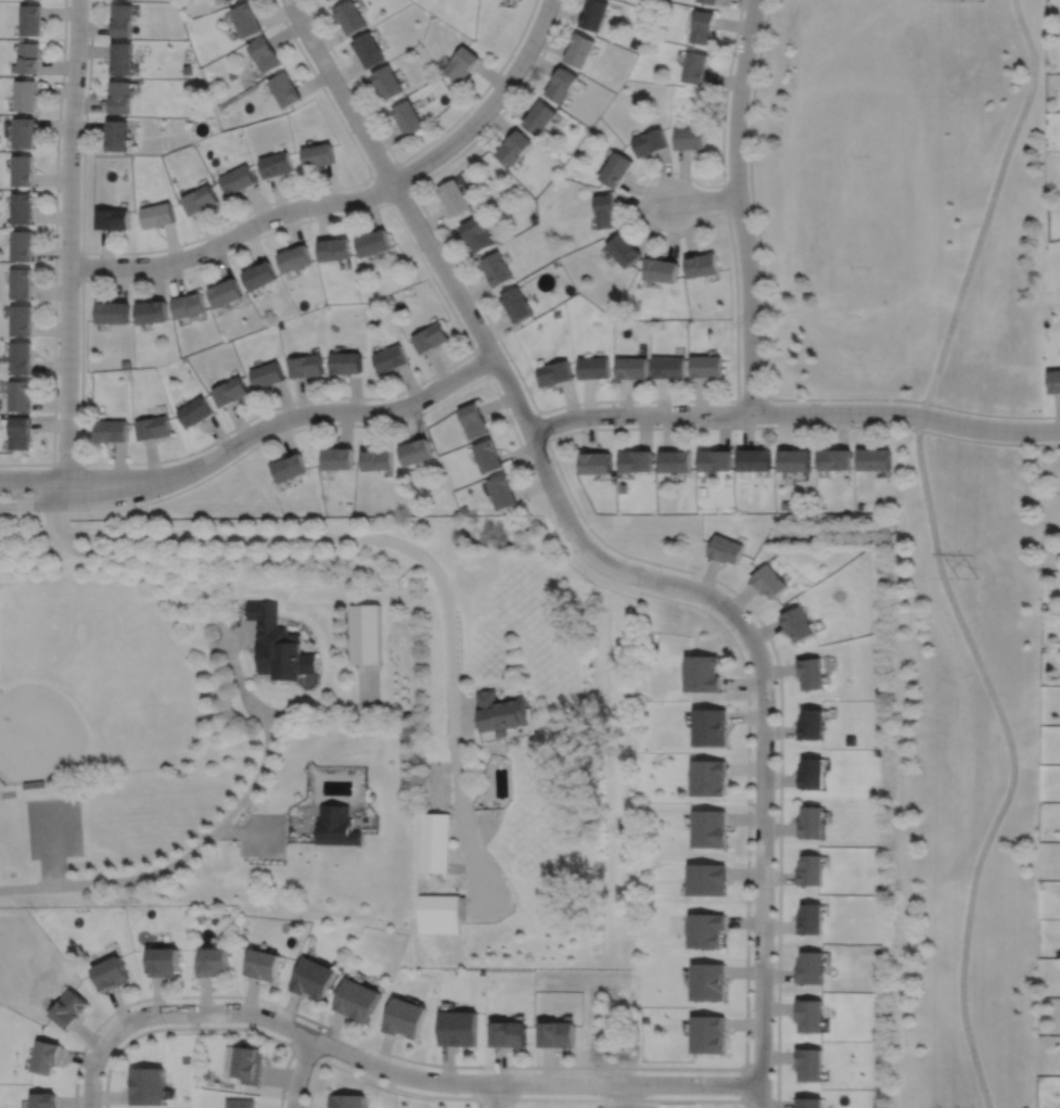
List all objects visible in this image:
building: (229, 0)
building: (328, 0)
building: (710, 1)
building: (646, 2)
building: (593, 14)
building: (350, 16)
building: (30, 20)
building: (124, 20)
building: (245, 20)
street lamp: (310, 20)
building: (702, 26)
street lamp: (88, 39)
building: (369, 50)
building: (578, 50)
street lamp: (540, 51)
building: (264, 54)
street lamp: (735, 54)
building: (28, 58)
building: (124, 59)
building: (463, 64)
building: (694, 67)
building: (186, 69)
power tower: (968, 73)
building: (388, 82)
building: (561, 85)
building: (285, 90)
building: (24, 95)
building: (122, 98)
road: (489, 105)
street lamp: (363, 112)
building: (409, 117)
building: (539, 117)
building: (22, 132)
building: (118, 136)
street lamp: (475, 136)
building: (689, 138)
building: (649, 142)
building: (515, 148)
street lamp: (60, 152)
road: (410, 155)
building: (319, 156)
road: (397, 164)
building: (277, 165)
building: (22, 170)
building: (615, 170)
street lamp: (726, 175)
road: (371, 177)
building: (238, 180)
street lamp: (368, 184)
road: (726, 198)
park: (854, 198)
building: (456, 199)
road: (705, 199)
building: (199, 201)
road: (739, 205)
building: (21, 207)
road: (989, 207)
building: (605, 212)
building: (157, 216)
building: (113, 220)
street lamp: (660, 230)
road: (55, 231)
street lamp: (434, 232)
street lamp: (259, 233)
road: (206, 235)
road: (233, 235)
building: (477, 235)
road: (410, 240)
building: (374, 244)
building: (21, 245)
road: (68, 250)
building: (334, 251)
building: (624, 251)
road: (434, 253)
street lamp: (139, 255)
building: (294, 259)
road: (82, 266)
building: (702, 266)
building: (498, 270)
building: (661, 271)
road: (764, 276)
building: (259, 277)
building: (21, 283)
street lamp: (80, 285)
building: (226, 294)
building: (519, 306)
building: (189, 307)
building: (152, 314)
building: (112, 315)
building: (21, 320)
street lamp: (740, 329)
building: (431, 338)
street lamp: (473, 341)
building: (391, 356)
building: (21, 358)
building: (346, 359)
building: (126, 361)
road: (481, 361)
building: (307, 364)
building: (707, 364)
building: (630, 365)
building: (669, 365)
building: (593, 366)
building: (554, 370)
building: (267, 372)
building: (1053, 381)
street lamp: (424, 382)
building: (231, 389)
street lamp: (740, 394)
building: (20, 396)
road: (682, 399)
road: (753, 399)
building: (195, 409)
road: (327, 409)
road: (793, 412)
street lamp: (56, 413)
road: (992, 413)
building: (474, 418)
street lamp: (855, 422)
street lamp: (310, 423)
road: (385, 423)
road: (540, 423)
street lamp: (623, 424)
building: (154, 425)
building: (112, 428)
street lamp: (553, 432)
building: (20, 433)
building: (417, 449)
building: (489, 454)
building: (337, 456)
building: (378, 457)
building: (836, 457)
building: (877, 457)
building: (717, 458)
building: (756, 458)
building: (796, 458)
building: (637, 459)
building: (676, 459)
park: (930, 460)
building: (597, 461)
road: (40, 463)
street lamp: (87, 466)
building: (290, 466)
road: (80, 476)
street lamp: (196, 480)
building: (503, 488)
building: (703, 491)
road: (82, 499)
building: (789, 504)
street lamp: (88, 510)
street lamp: (566, 538)
building: (726, 548)
road: (618, 550)
road: (417, 556)
street lamp: (662, 570)
power tower: (968, 576)
building: (770, 580)
building: (799, 623)
street lamp: (733, 628)
road: (221, 632)
building: (366, 635)
building: (277, 642)
building: (813, 672)
building: (703, 673)
park: (90, 682)
street lamp: (776, 700)
building: (501, 713)
building: (814, 723)
building: (712, 727)
road: (764, 754)
road: (1012, 759)
building: (813, 773)
building: (708, 777)
street lamp: (752, 802)
building: (810, 822)
building: (336, 826)
parking lot: (53, 827)
building: (708, 829)
building: (433, 843)
road: (52, 844)
road: (201, 844)
building: (810, 870)
building: (705, 880)
road: (27, 887)
street lamp: (774, 896)
building: (439, 914)
building: (809, 919)
building: (705, 930)
building: (163, 963)
building: (210, 963)
building: (263, 966)
building: (809, 968)
building: (108, 977)
building: (312, 980)
building: (707, 982)
building: (357, 1001)
building: (68, 1009)
street lamp: (277, 1010)
street lamp: (751, 1013)
building: (809, 1016)
building: (403, 1018)
building: (643, 1020)
street lamp: (165, 1023)
road: (206, 1028)
building: (458, 1028)
building: (508, 1035)
building: (707, 1035)
building: (557, 1036)
road: (307, 1053)
building: (44, 1056)
building: (248, 1065)
building: (808, 1065)
road: (93, 1066)
road: (639, 1067)
street lamp: (485, 1070)
road: (299, 1071)
street lamp: (371, 1073)
street lamp: (702, 1073)
road: (429, 1080)
road: (376, 1082)
road: (744, 1084)
street lamp: (79, 1085)
building: (148, 1085)
street lamp: (595, 1094)
road: (495, 1095)
street lamp: (284, 1098)
road: (494, 1098)
road: (626, 1099)
building: (42, 1100)
building: (348, 1100)
building: (808, 1103)
building: (238, 1104)
street lamp: (751, 1107)

